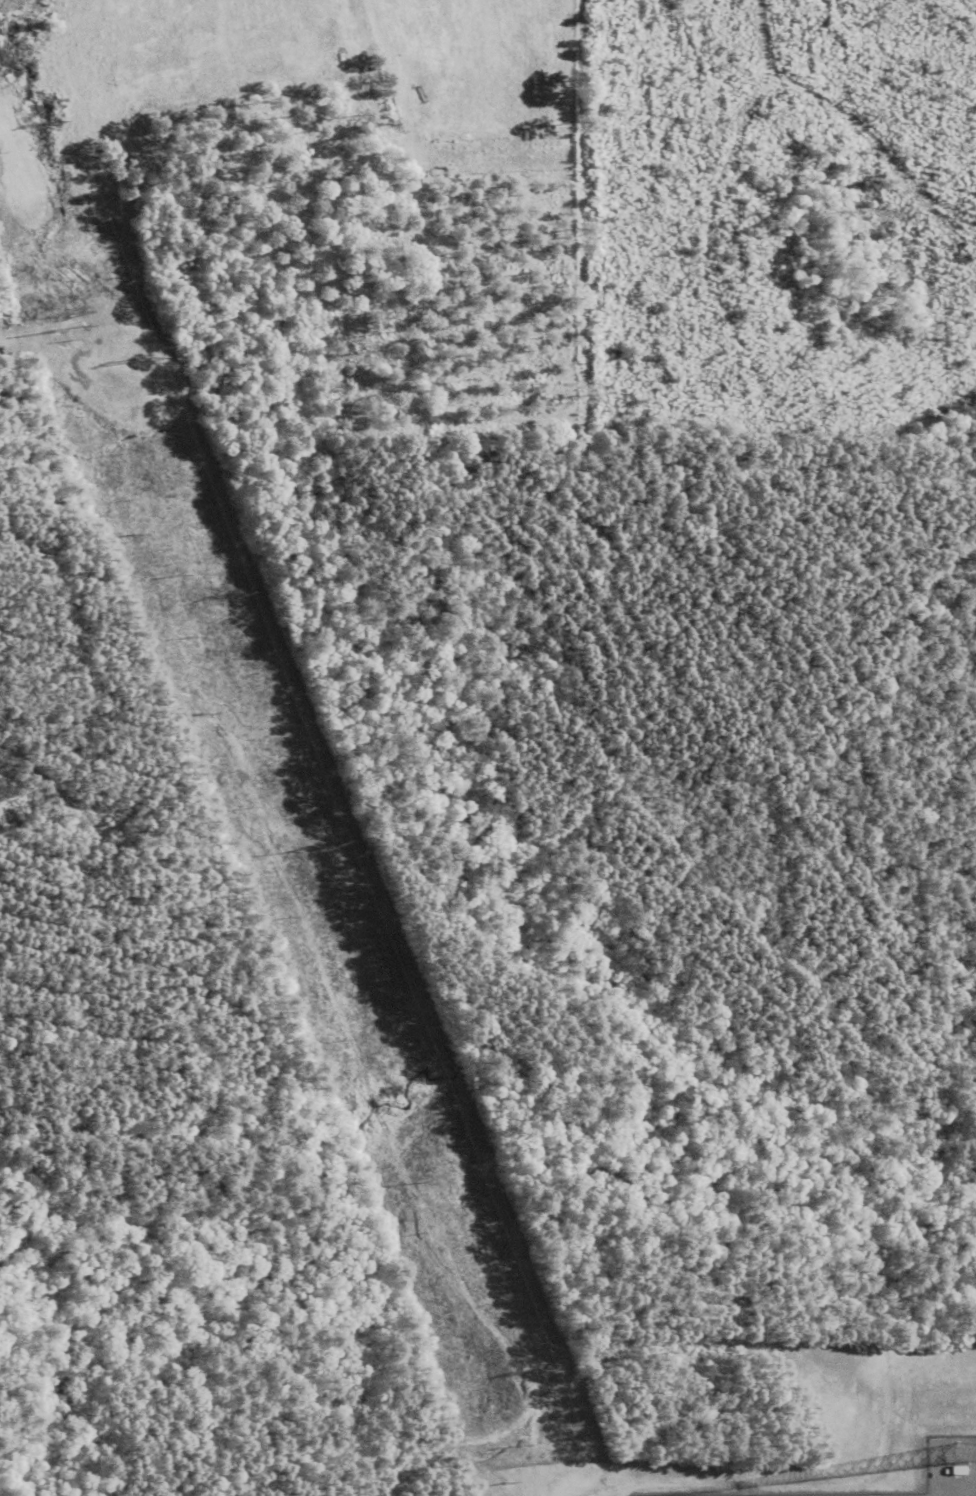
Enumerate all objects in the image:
power substation: (951, 1462)

